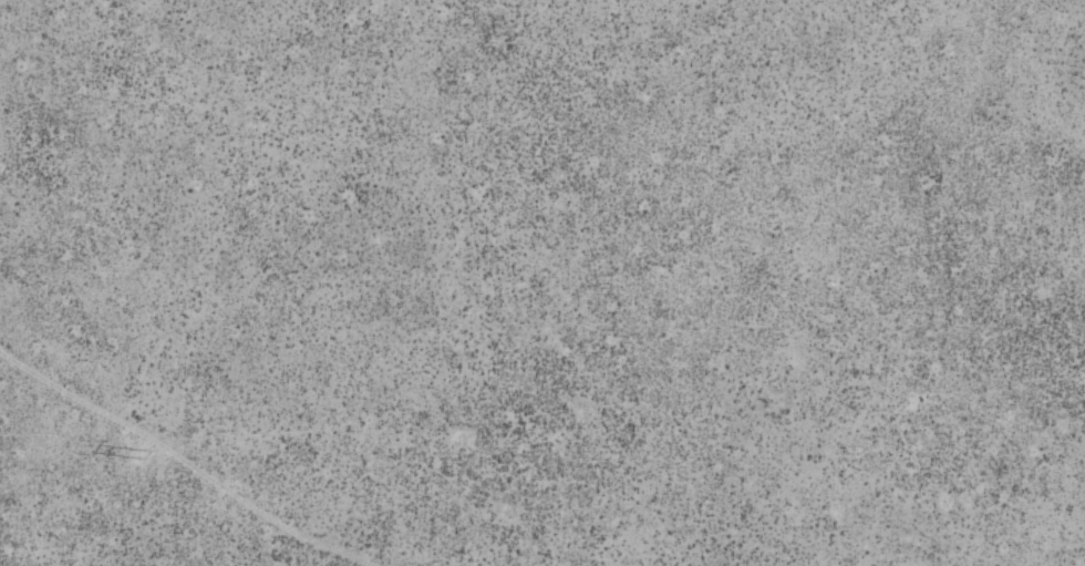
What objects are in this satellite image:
power tower: (139, 456)

